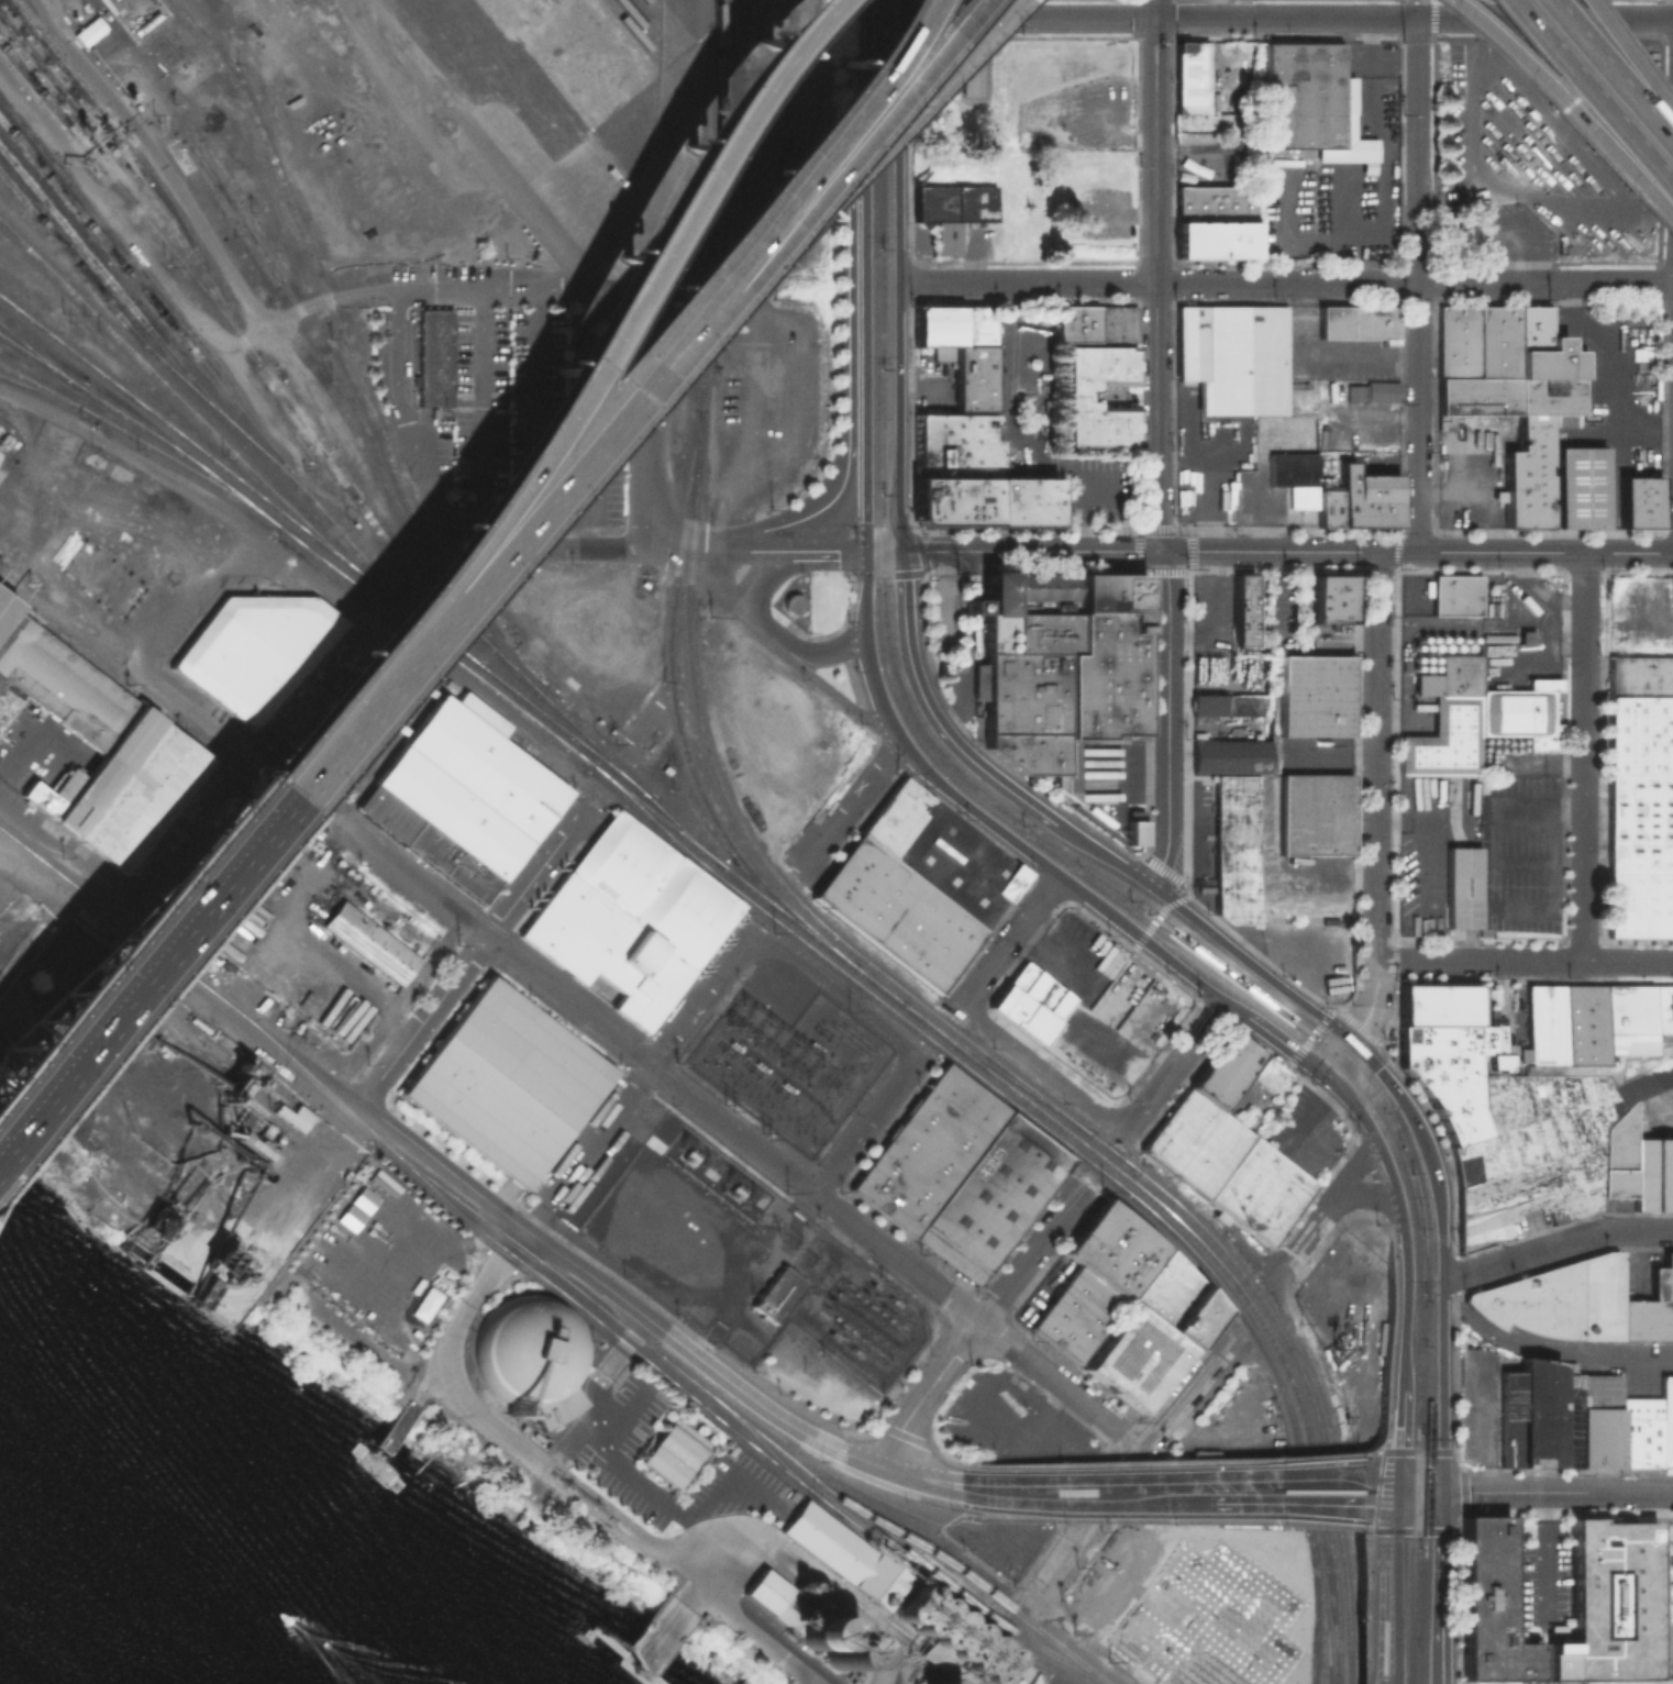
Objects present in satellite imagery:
road: (1417, 8)
road: (1155, 9)
road: (1286, 16)
road: (971, 18)
road: (778, 19)
building: (87, 30)
road: (688, 30)
building: (1182, 45)
road: (1214, 47)
road: (743, 62)
road: (1628, 63)
building: (968, 76)
road: (865, 77)
road: (1608, 77)
building: (1192, 78)
road: (1589, 99)
road: (856, 101)
building: (1308, 101)
road: (1562, 109)
road: (869, 119)
road: (1111, 134)
road: (671, 136)
road: (475, 141)
road: (795, 154)
railway: (115, 155)
road: (156, 155)
road: (821, 156)
road: (856, 177)
parking lot: (1520, 181)
road: (1384, 188)
railway: (129, 200)
building: (951, 202)
building: (1216, 202)
road: (1112, 214)
road: (124, 229)
building: (945, 237)
building: (1216, 239)
road: (971, 255)
road: (1516, 257)
railway: (710, 258)
road: (898, 275)
railway: (145, 276)
road: (629, 276)
road: (1285, 282)
road: (1417, 284)
road: (522, 288)
railway: (121, 293)
road: (330, 296)
building: (1359, 321)
building: (1076, 322)
building: (1118, 322)
building: (975, 323)
building: (935, 324)
building: (1530, 328)
building: (1455, 341)
building: (1495, 341)
railway: (149, 351)
road: (865, 353)
railway: (38, 355)
road: (396, 355)
building: (432, 356)
building: (1234, 356)
railway: (255, 358)
building: (1547, 361)
road: (1608, 369)
road: (562, 370)
building: (968, 375)
parking lot: (1620, 378)
railway: (342, 380)
road: (622, 385)
railway: (48, 387)
road: (847, 387)
building: (1369, 389)
building: (1075, 395)
building: (1475, 395)
building: (1547, 395)
railway: (177, 398)
railway: (229, 398)
railway: (376, 418)
road: (647, 420)
railway: (141, 425)
railway: (188, 440)
building: (954, 444)
road: (1156, 454)
road: (1190, 459)
railway: (175, 461)
road: (157, 472)
road: (531, 473)
building: (1526, 474)
building: (1293, 476)
road: (425, 487)
building: (1578, 487)
building: (1364, 497)
building: (983, 500)
building: (1638, 500)
building: (1325, 507)
road: (552, 550)
road: (712, 550)
road: (821, 550)
traffic signals: (865, 551)
road: (883, 551)
traffic signals: (900, 551)
road: (1286, 551)
road: (865, 563)
road: (698, 579)
road: (199, 584)
railway: (687, 591)
road: (746, 592)
building: (1455, 594)
building: (1329, 599)
road: (864, 601)
building: (790, 602)
building: (954, 606)
building: (4, 607)
parking lot: (1212, 614)
building: (1241, 614)
road: (368, 621)
road: (754, 624)
road: (63, 628)
road: (611, 628)
road: (709, 639)
building: (254, 649)
road: (822, 652)
building: (1060, 666)
road: (456, 676)
building: (1639, 676)
building: (57, 684)
road: (833, 694)
building: (1314, 695)
building: (1208, 703)
building: (1249, 705)
building: (484, 714)
railway: (527, 717)
railway: (675, 717)
building: (1474, 717)
road: (641, 733)
building: (1639, 736)
road: (380, 739)
road: (954, 744)
road: (16, 749)
road: (552, 750)
building: (1231, 754)
road: (1583, 757)
building: (104, 768)
railway: (617, 774)
building: (64, 783)
road: (597, 793)
building: (40, 797)
building: (141, 797)
building: (462, 797)
road: (1375, 799)
road: (307, 804)
road: (968, 807)
road: (849, 808)
building: (1316, 813)
building: (895, 815)
building: (1132, 827)
road: (230, 835)
road: (174, 837)
parking lot: (1432, 847)
building: (1237, 849)
building: (1639, 856)
building: (959, 864)
railway: (1097, 871)
road: (193, 873)
railway: (1079, 874)
road: (1146, 884)
building: (1469, 888)
building: (12, 907)
building: (896, 912)
building: (632, 917)
road: (1155, 919)
road: (288, 927)
railway: (1168, 929)
building: (372, 941)
road: (1009, 941)
road: (477, 950)
road: (231, 952)
road: (1248, 962)
road: (1524, 962)
road: (1183, 971)
building: (1019, 976)
road: (1233, 977)
road: (176, 978)
railway: (190, 982)
building: (1038, 990)
road: (838, 991)
road: (699, 1000)
road: (566, 1004)
building: (1007, 1004)
road: (388, 1005)
building: (1057, 1005)
road: (399, 1020)
railway: (1294, 1021)
building: (1594, 1021)
building: (1032, 1024)
road: (1261, 1027)
road: (1336, 1030)
road: (1310, 1037)
traffic signals: (1349, 1040)
road: (1333, 1055)
power substation: (793, 1065)
road: (1174, 1066)
railway: (996, 1067)
road: (1040, 1071)
building: (1225, 1071)
traffic signals: (1320, 1072)
building: (1451, 1075)
building: (506, 1083)
railway: (1024, 1098)
building: (292, 1115)
road: (865, 1127)
railway: (1092, 1135)
building: (1618, 1139)
road: (587, 1148)
railway: (1076, 1152)
building: (1226, 1166)
road: (468, 1167)
road: (1350, 1168)
building: (1653, 1172)
building: (961, 1173)
road: (1393, 1182)
building: (1615, 1182)
road: (1374, 1185)
road: (1366, 1195)
road: (511, 1218)
road: (1638, 1231)
road: (1300, 1244)
road: (1253, 1251)
road: (1440, 1251)
road: (1030, 1254)
road: (1521, 1254)
power substation: (744, 1258)
road: (896, 1258)
road: (1391, 1276)
building: (1662, 1277)
railway: (1231, 1281)
road: (1284, 1281)
building: (778, 1293)
building: (1558, 1298)
building: (1124, 1307)
building: (1647, 1318)
building: (527, 1349)
road: (1551, 1350)
building: (1627, 1384)
road: (926, 1391)
road: (749, 1397)
building: (1539, 1416)
railway: (739, 1418)
building: (1597, 1420)
building: (1665, 1422)
railway: (723, 1423)
road: (1401, 1425)
road: (1087, 1427)
building: (1638, 1431)
road: (498, 1432)
road: (905, 1433)
road: (1378, 1444)
road: (1380, 1448)
building: (672, 1451)
road: (840, 1451)
road: (1380, 1454)
railway: (773, 1455)
road: (863, 1460)
road: (1161, 1460)
road: (1130, 1469)
traffic signals: (1398, 1473)
road: (1304, 1474)
road: (628, 1475)
road: (1404, 1475)
road: (919, 1477)
road: (1384, 1486)
road: (894, 1489)
road: (1100, 1491)
traffic signals: (1442, 1492)
road: (1558, 1492)
railway: (1330, 1499)
road: (1403, 1503)
road: (1304, 1504)
traffic signals: (1393, 1506)
road: (985, 1517)
road: (1157, 1517)
road: (1384, 1530)
road: (1369, 1531)
road: (939, 1532)
road: (928, 1533)
building: (845, 1553)
road: (1550, 1555)
road: (1385, 1583)
road: (834, 1584)
road: (1441, 1587)
railway: (954, 1588)
road: (1363, 1588)
building: (769, 1596)
building: (1491, 1603)
building: (1609, 1604)
road: (1370, 1608)
railway: (1327, 1613)
building: (1209, 1619)
building: (818, 1627)
road: (760, 1635)
river: (42, 1638)
building: (949, 1639)
pier: (644, 1641)
road: (1074, 1647)
road: (883, 1650)
railway: (1321, 1657)
road: (1363, 1671)
road: (1383, 1673)
road: (1385, 1673)
pier: (786, 1683)

